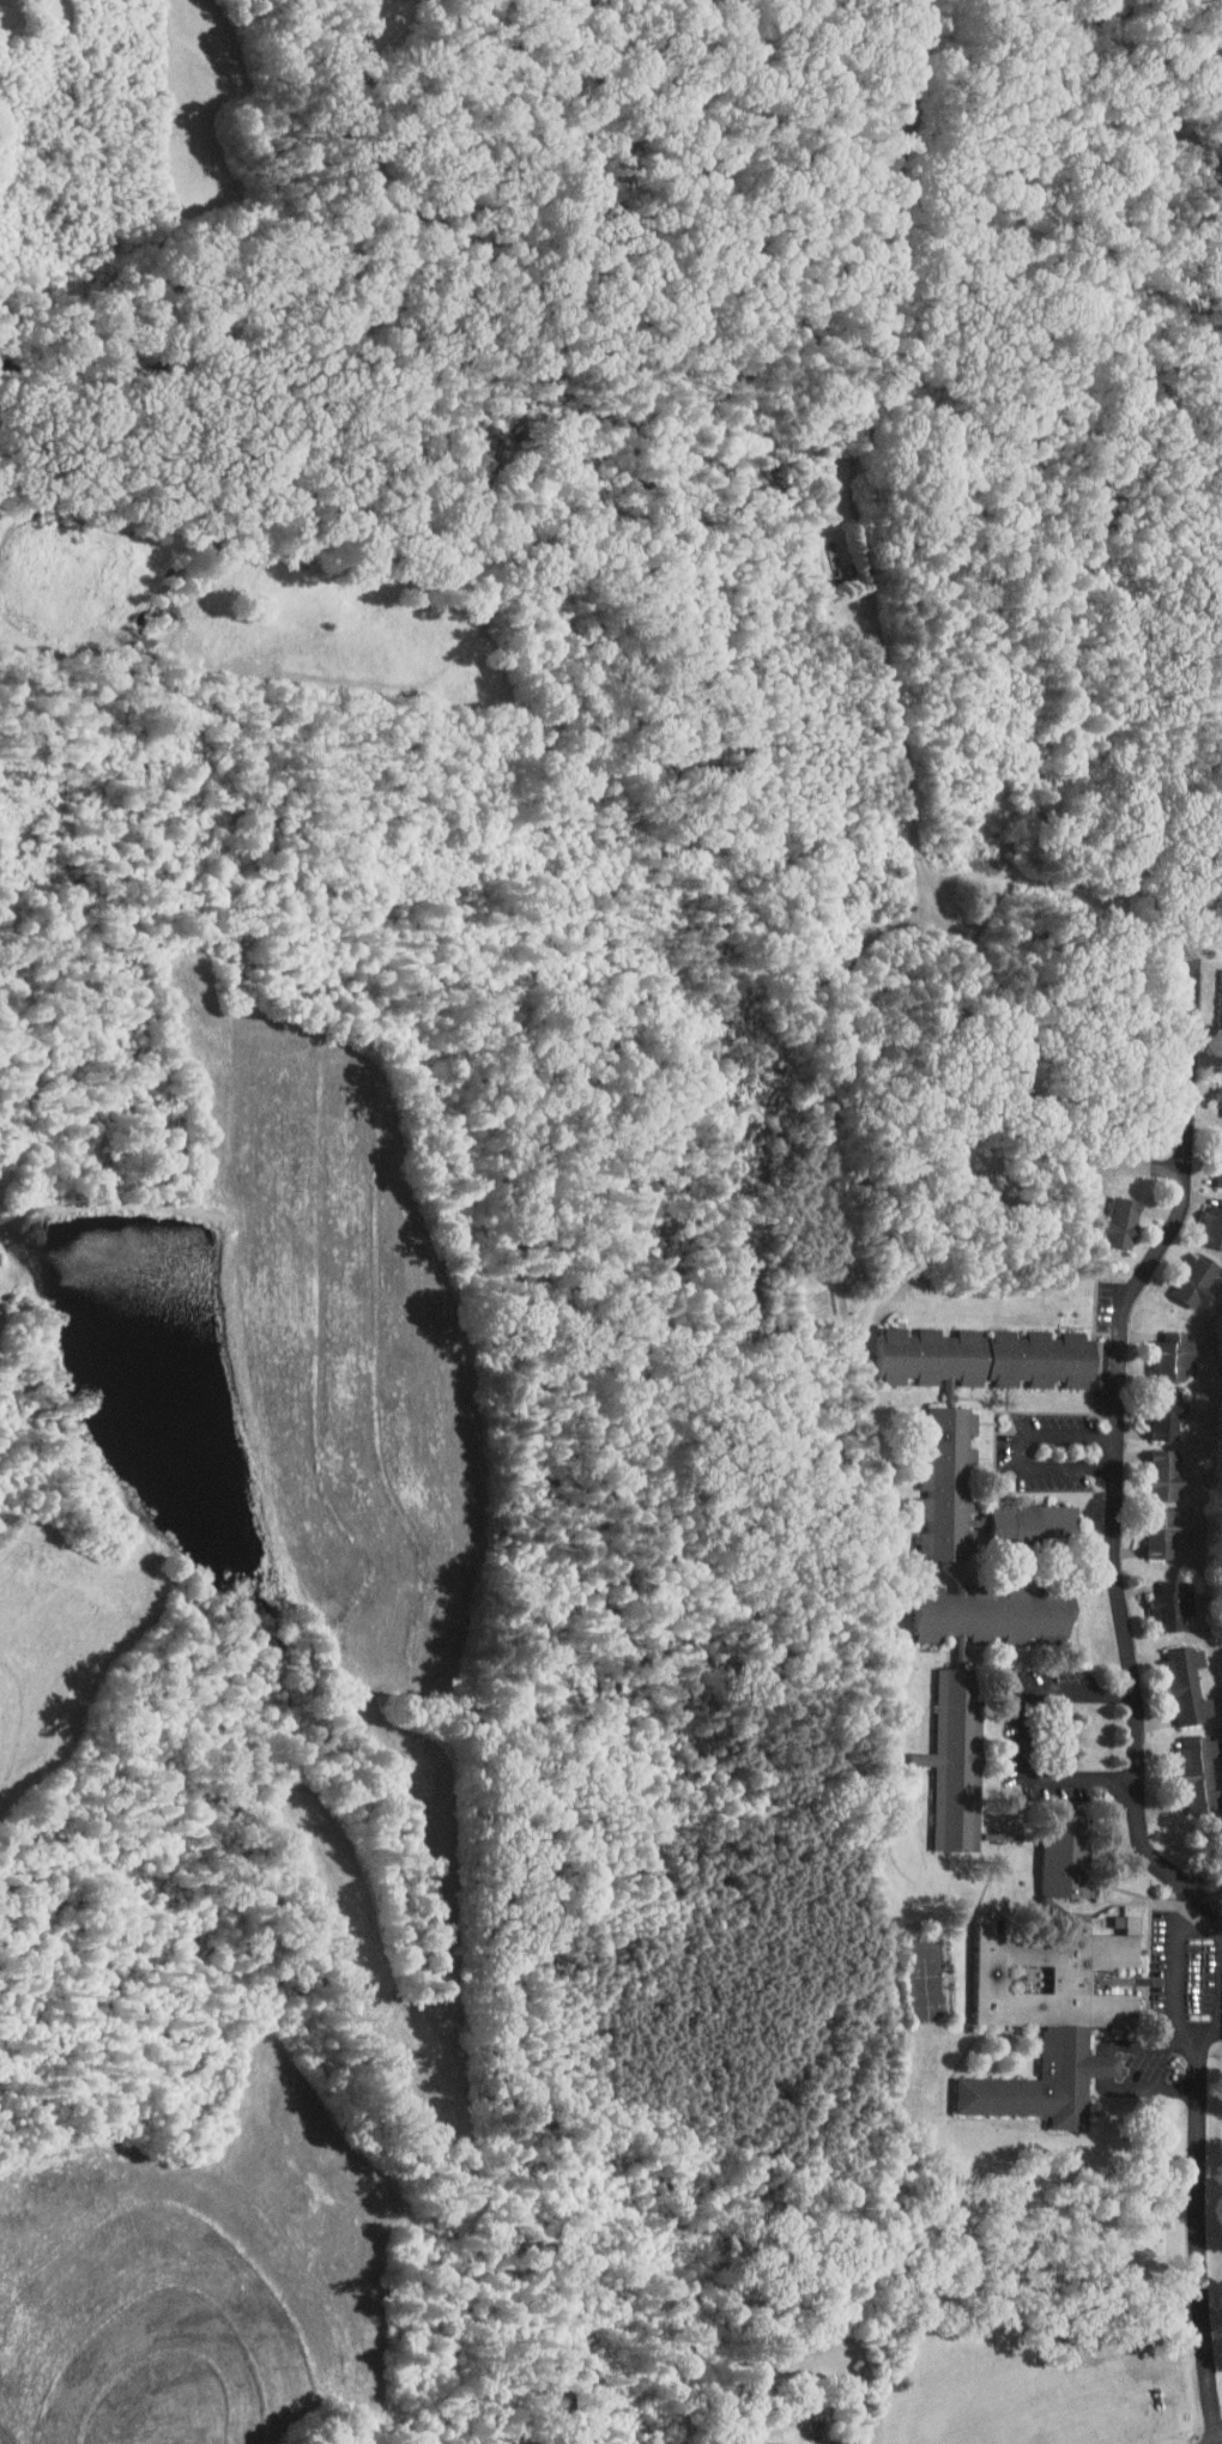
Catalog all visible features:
road: (1163, 104)
road: (990, 908)
road: (963, 932)
road: (1126, 937)
building: (1220, 1094)
road: (836, 1153)
building: (1221, 1174)
building: (1125, 1221)
building: (1198, 1278)
building: (991, 1356)
building: (1172, 1356)
building: (1168, 1444)
road: (1021, 1450)
road: (1121, 1451)
building: (950, 1483)
building: (1034, 1522)
building: (1166, 1532)
building: (1174, 1605)
building: (998, 1613)
building: (1190, 1684)
road: (1033, 1735)
building: (1200, 1771)
building: (1069, 1858)
road: (1175, 1978)
building: (1054, 2012)
road: (1144, 2045)
road: (1107, 2064)
road: (1151, 2088)
road: (1203, 2227)
road: (798, 2419)

